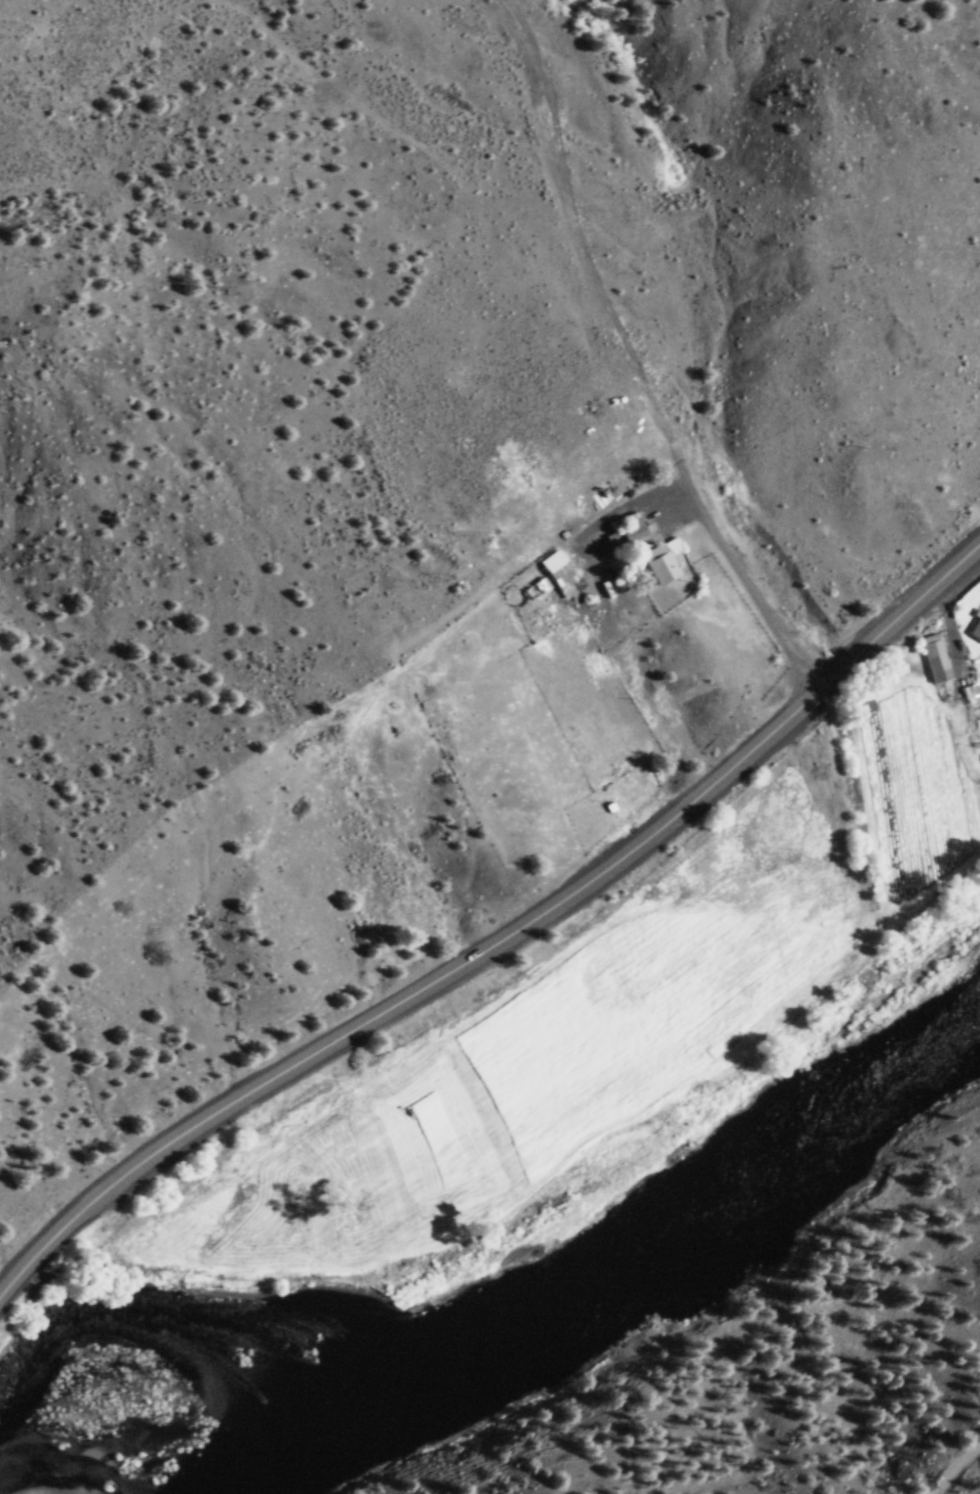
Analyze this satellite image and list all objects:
road: (632, 362)
building: (626, 534)
building: (659, 561)
building: (560, 579)
building: (974, 628)
building: (931, 658)
road: (499, 950)
river: (519, 1310)

